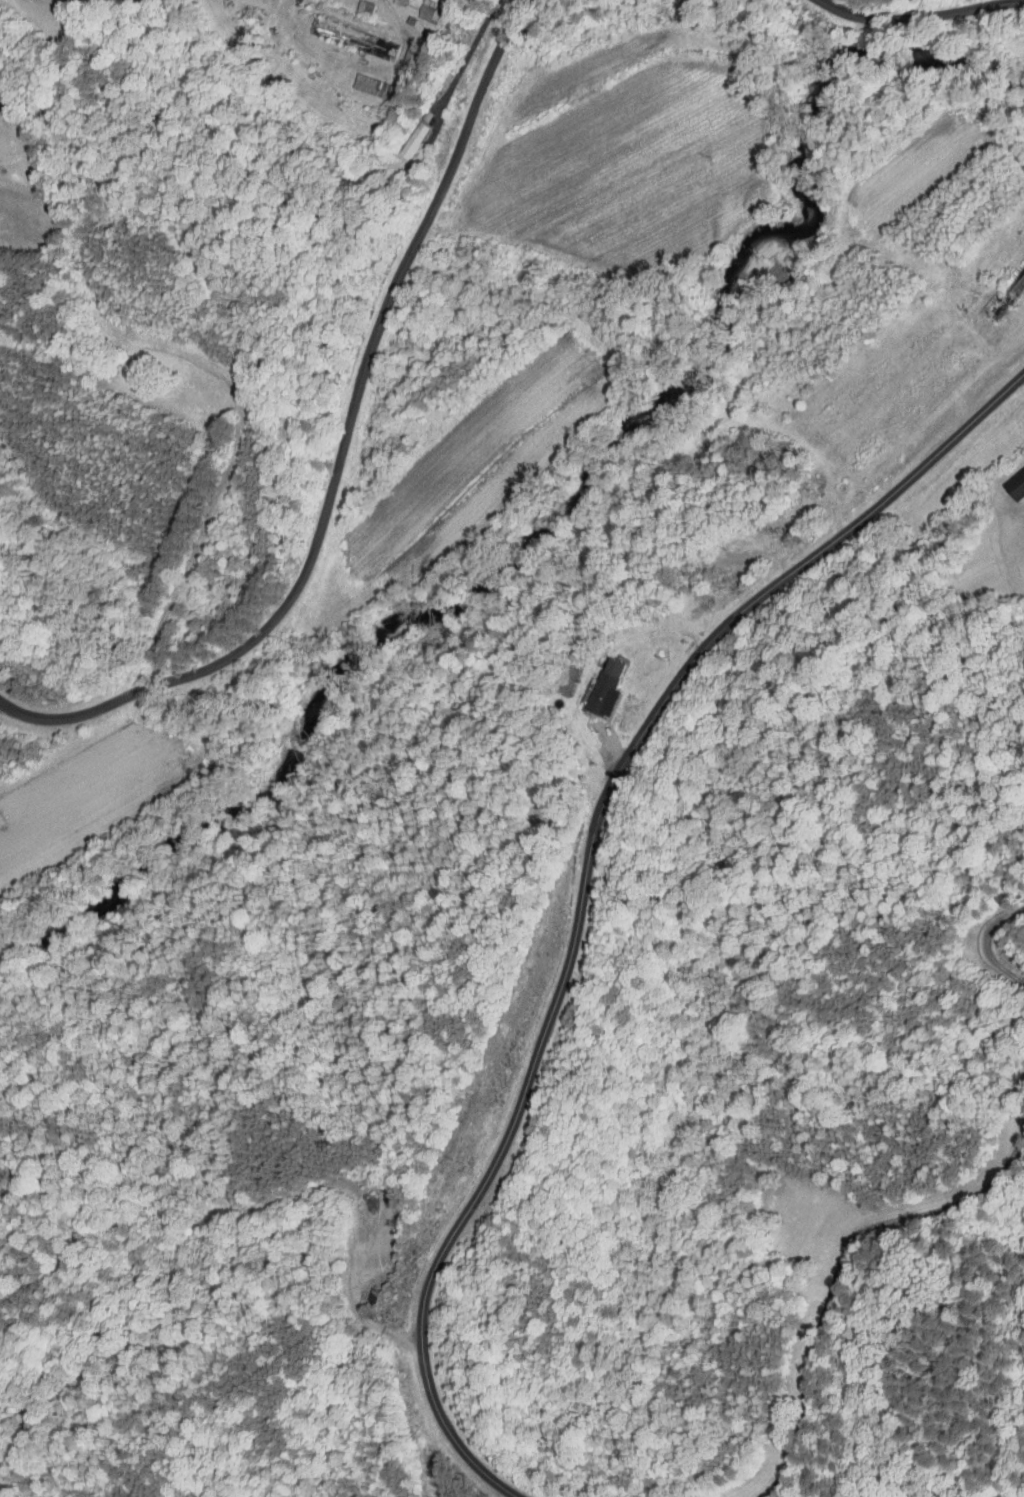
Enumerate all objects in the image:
building: (390, 0)
building: (399, 2)
building: (366, 7)
building: (417, 8)
building: (429, 12)
road: (923, 15)
building: (353, 37)
road: (468, 50)
building: (408, 55)
building: (374, 86)
building: (403, 134)
building: (417, 135)
building: (379, 181)
building: (1006, 294)
road: (341, 449)
building: (1009, 478)
building: (1017, 486)
building: (755, 522)
building: (569, 681)
building: (594, 682)
building: (607, 689)
road: (584, 878)
road: (986, 943)
road: (839, 1264)

